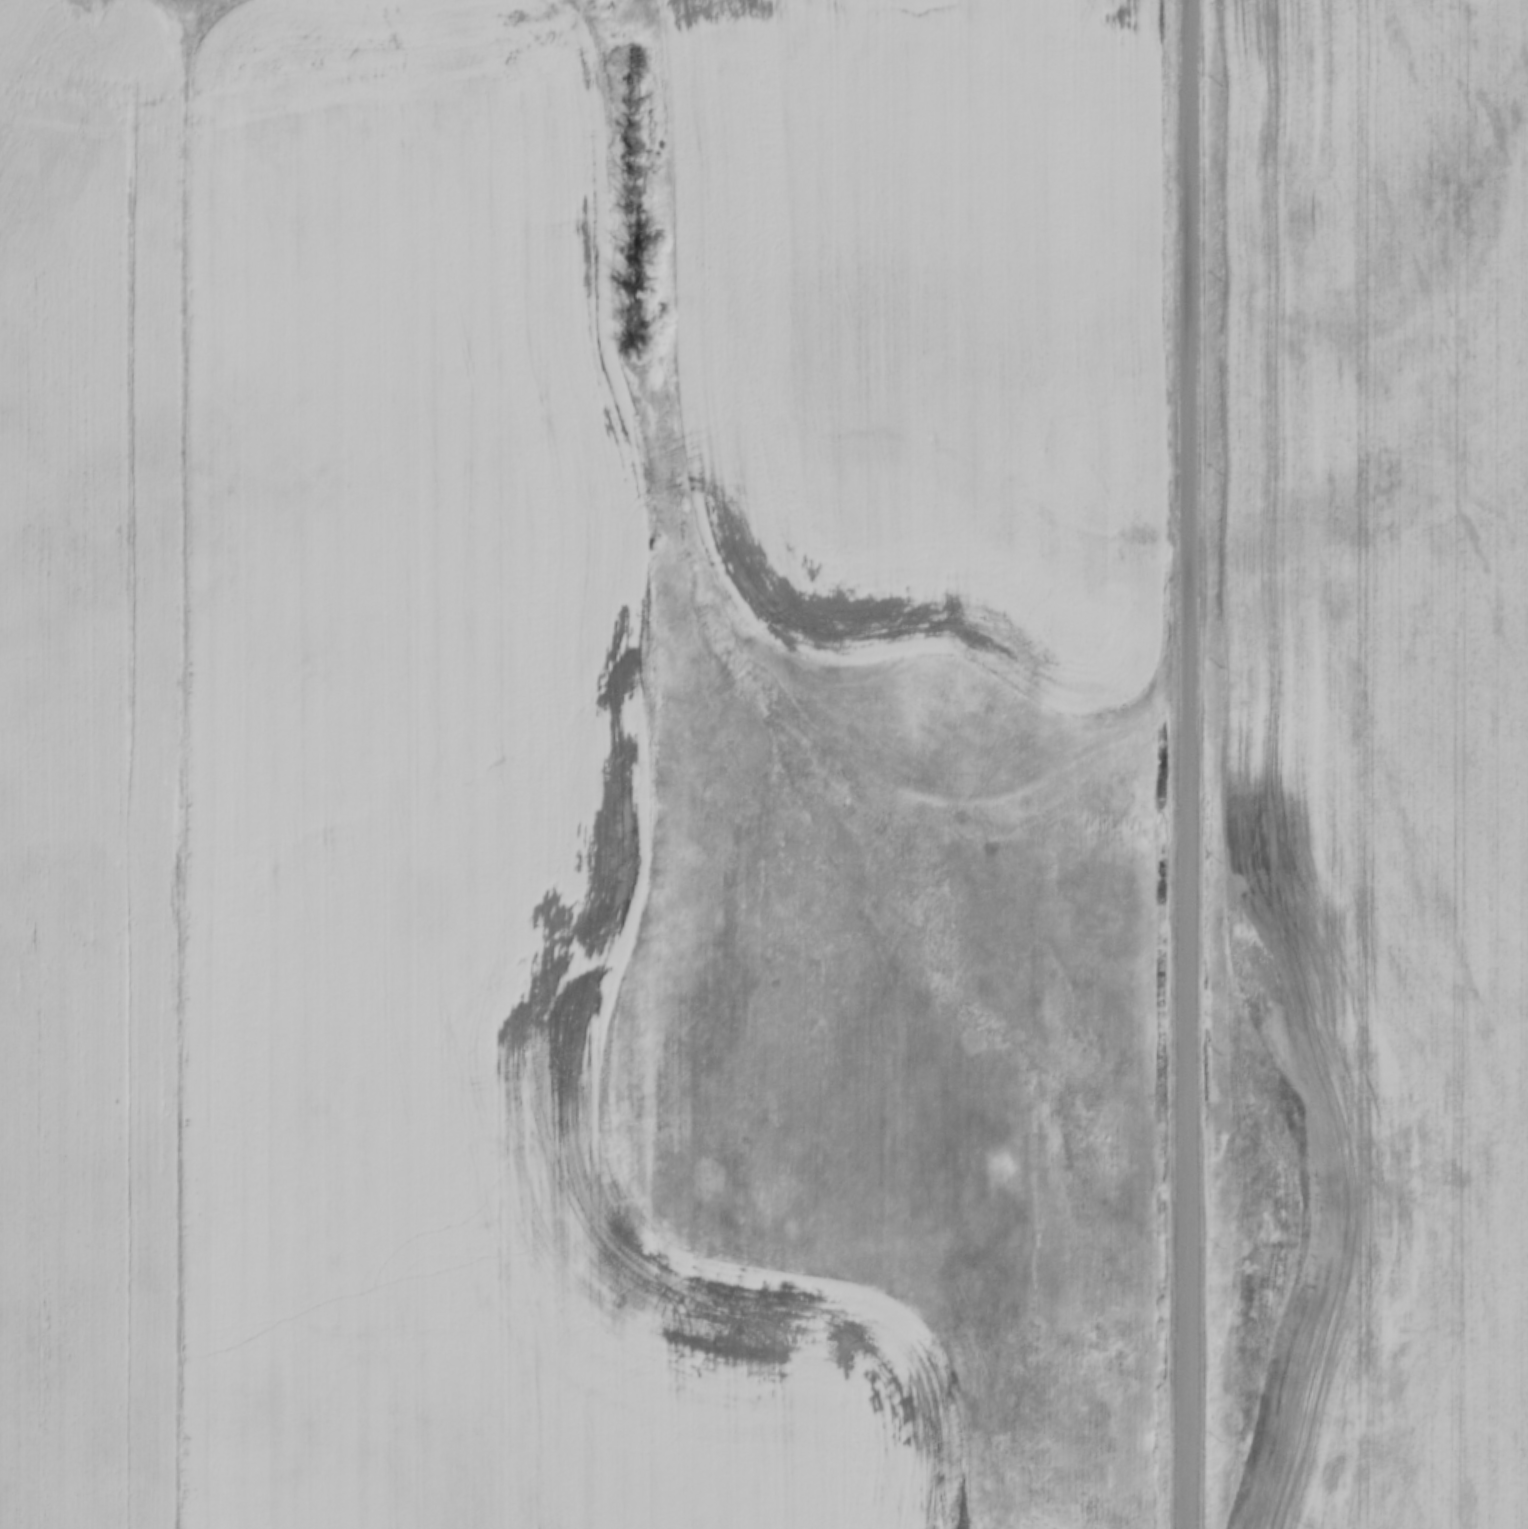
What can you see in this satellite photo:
road: (1188, 764)

